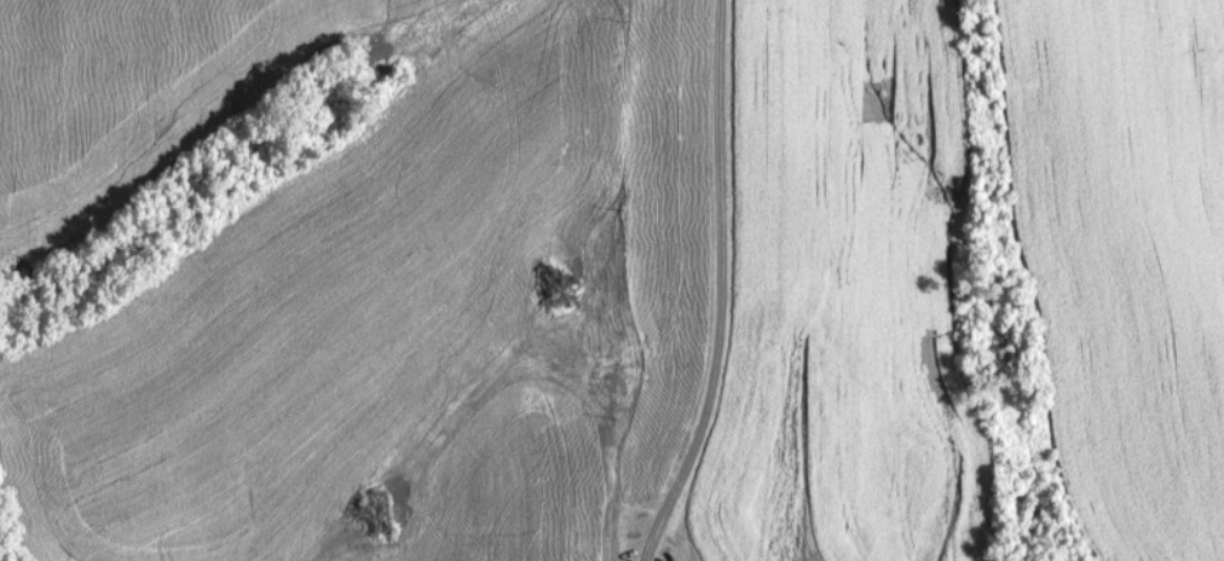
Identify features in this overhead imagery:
road: (723, 287)

